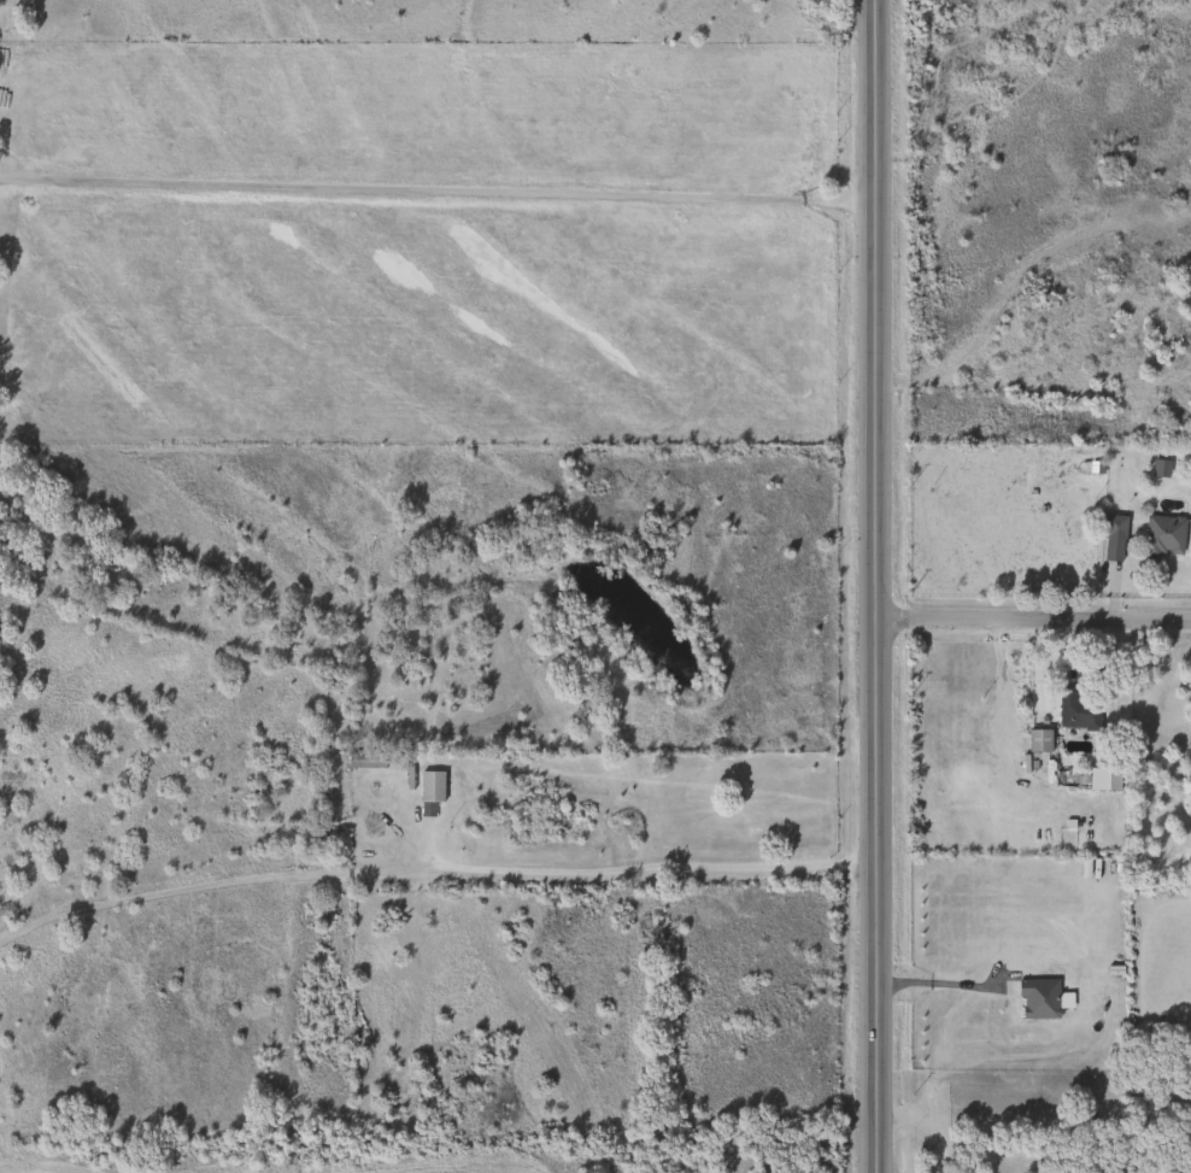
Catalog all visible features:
road: (432, 190)
building: (1110, 526)
building: (1160, 535)
road: (858, 586)
road: (1025, 615)
building: (1073, 710)
building: (1035, 740)
building: (359, 763)
building: (1101, 779)
building: (428, 787)
road: (542, 864)
road: (751, 866)
road: (984, 987)
building: (1034, 999)
road: (946, 1021)
road: (894, 1114)

